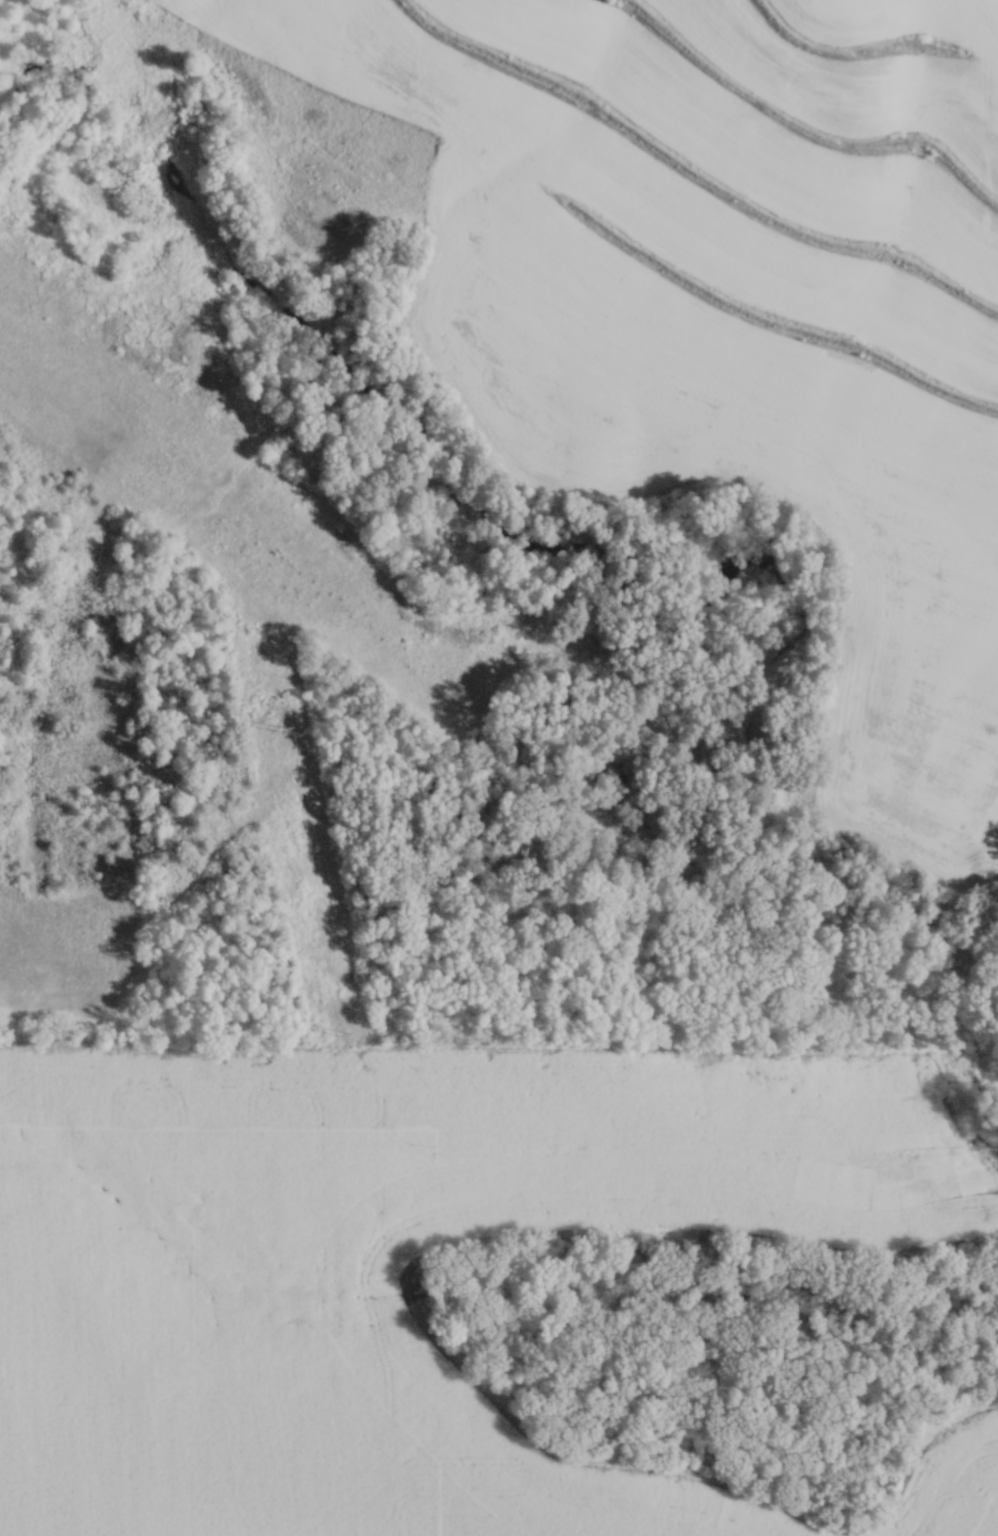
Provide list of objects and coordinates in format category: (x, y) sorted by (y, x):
power tower: (282, 726)
power tower: (343, 1027)

